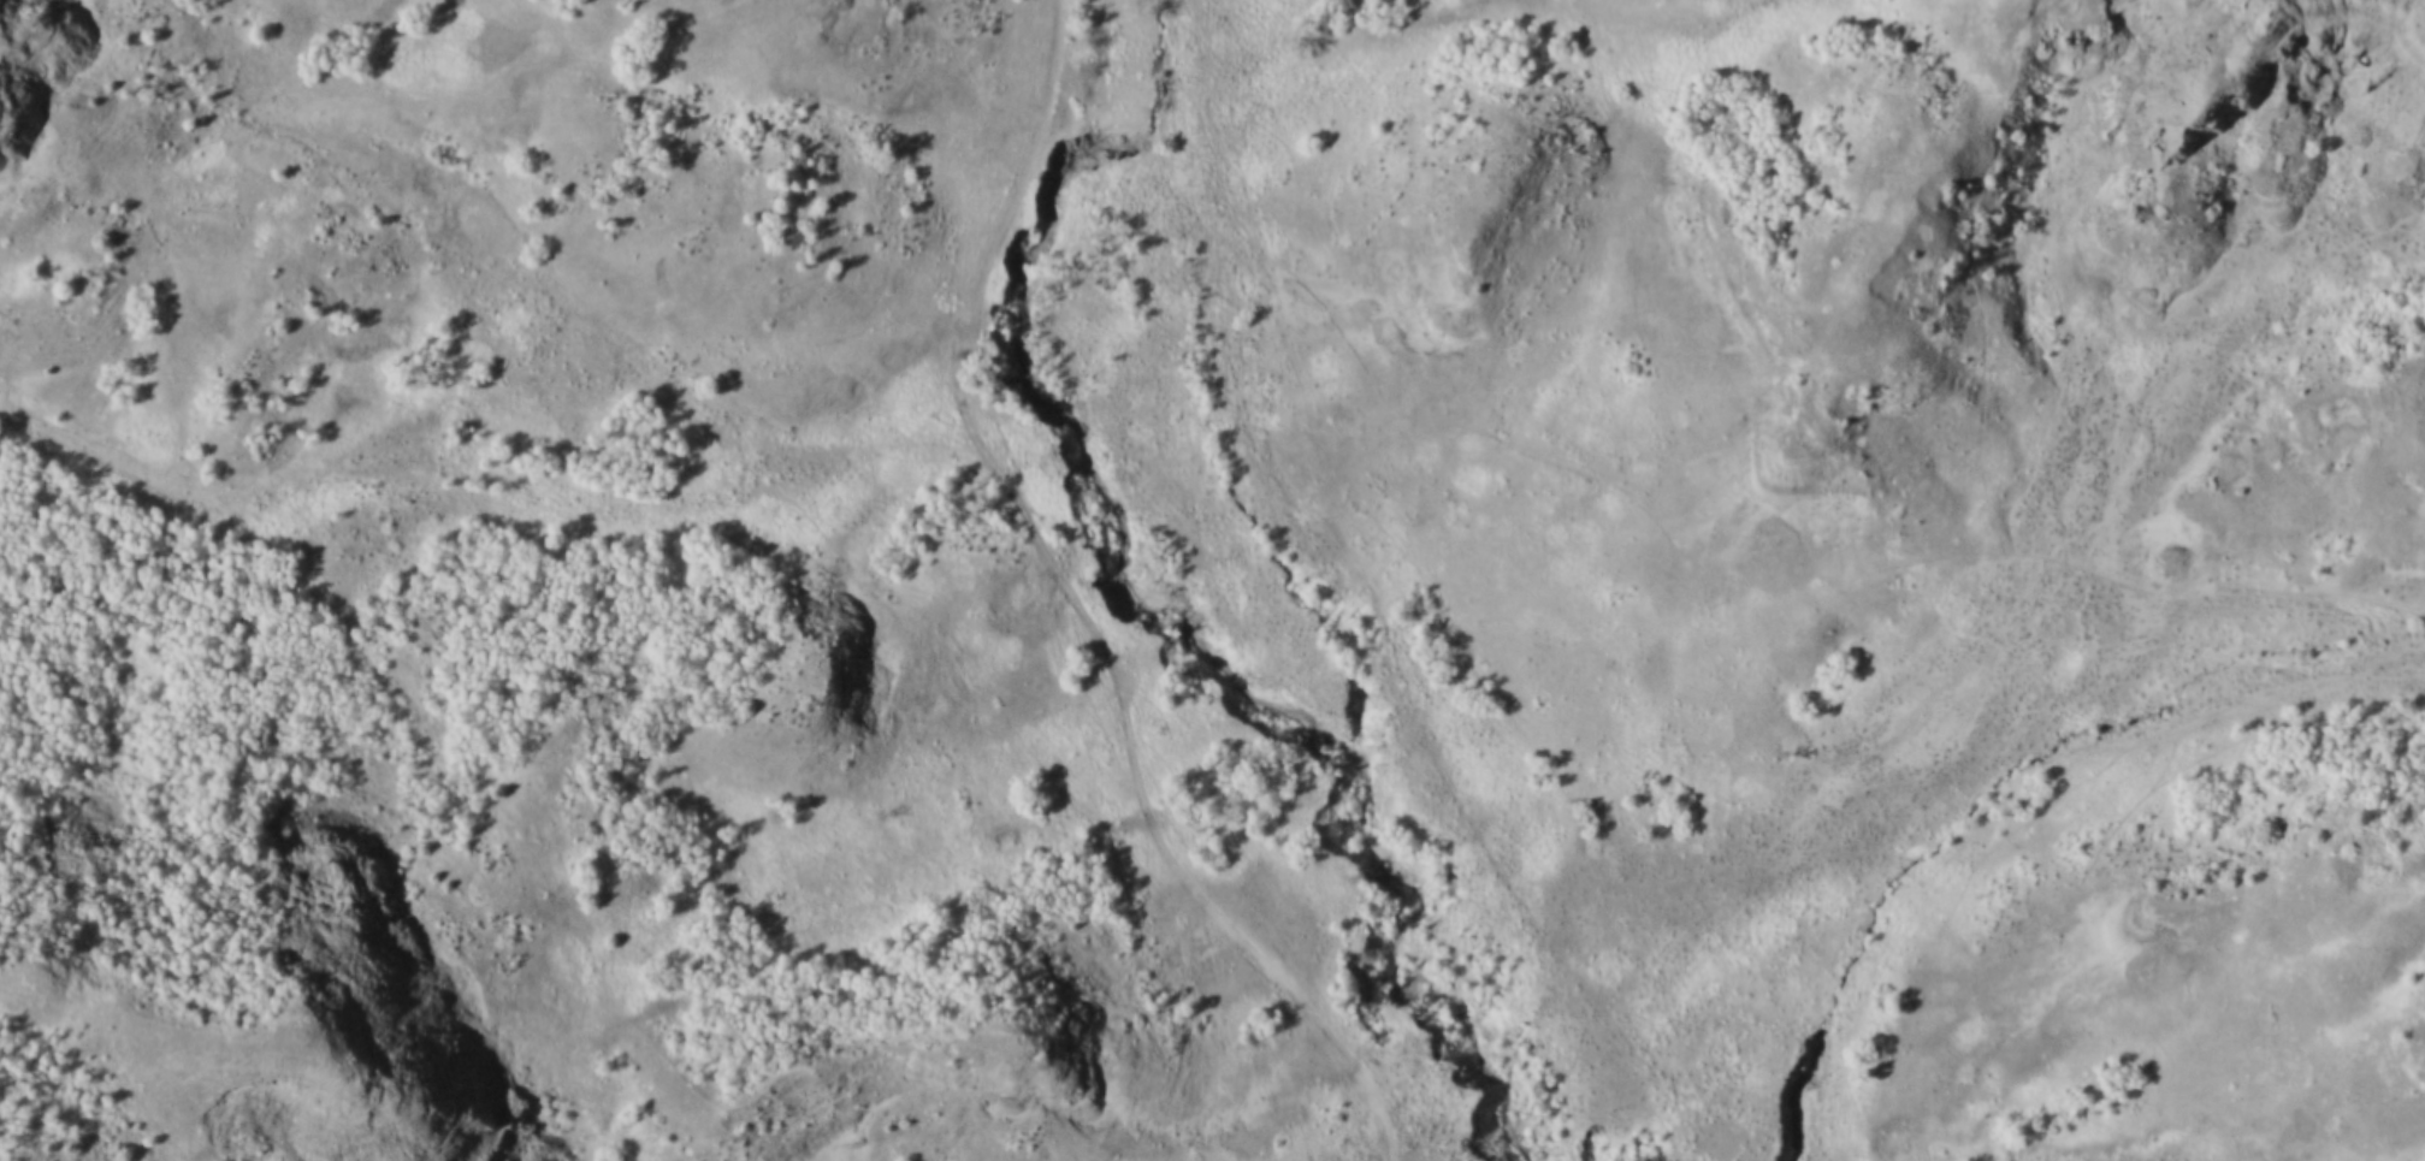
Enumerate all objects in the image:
road: (484, 515)
road: (1084, 604)

